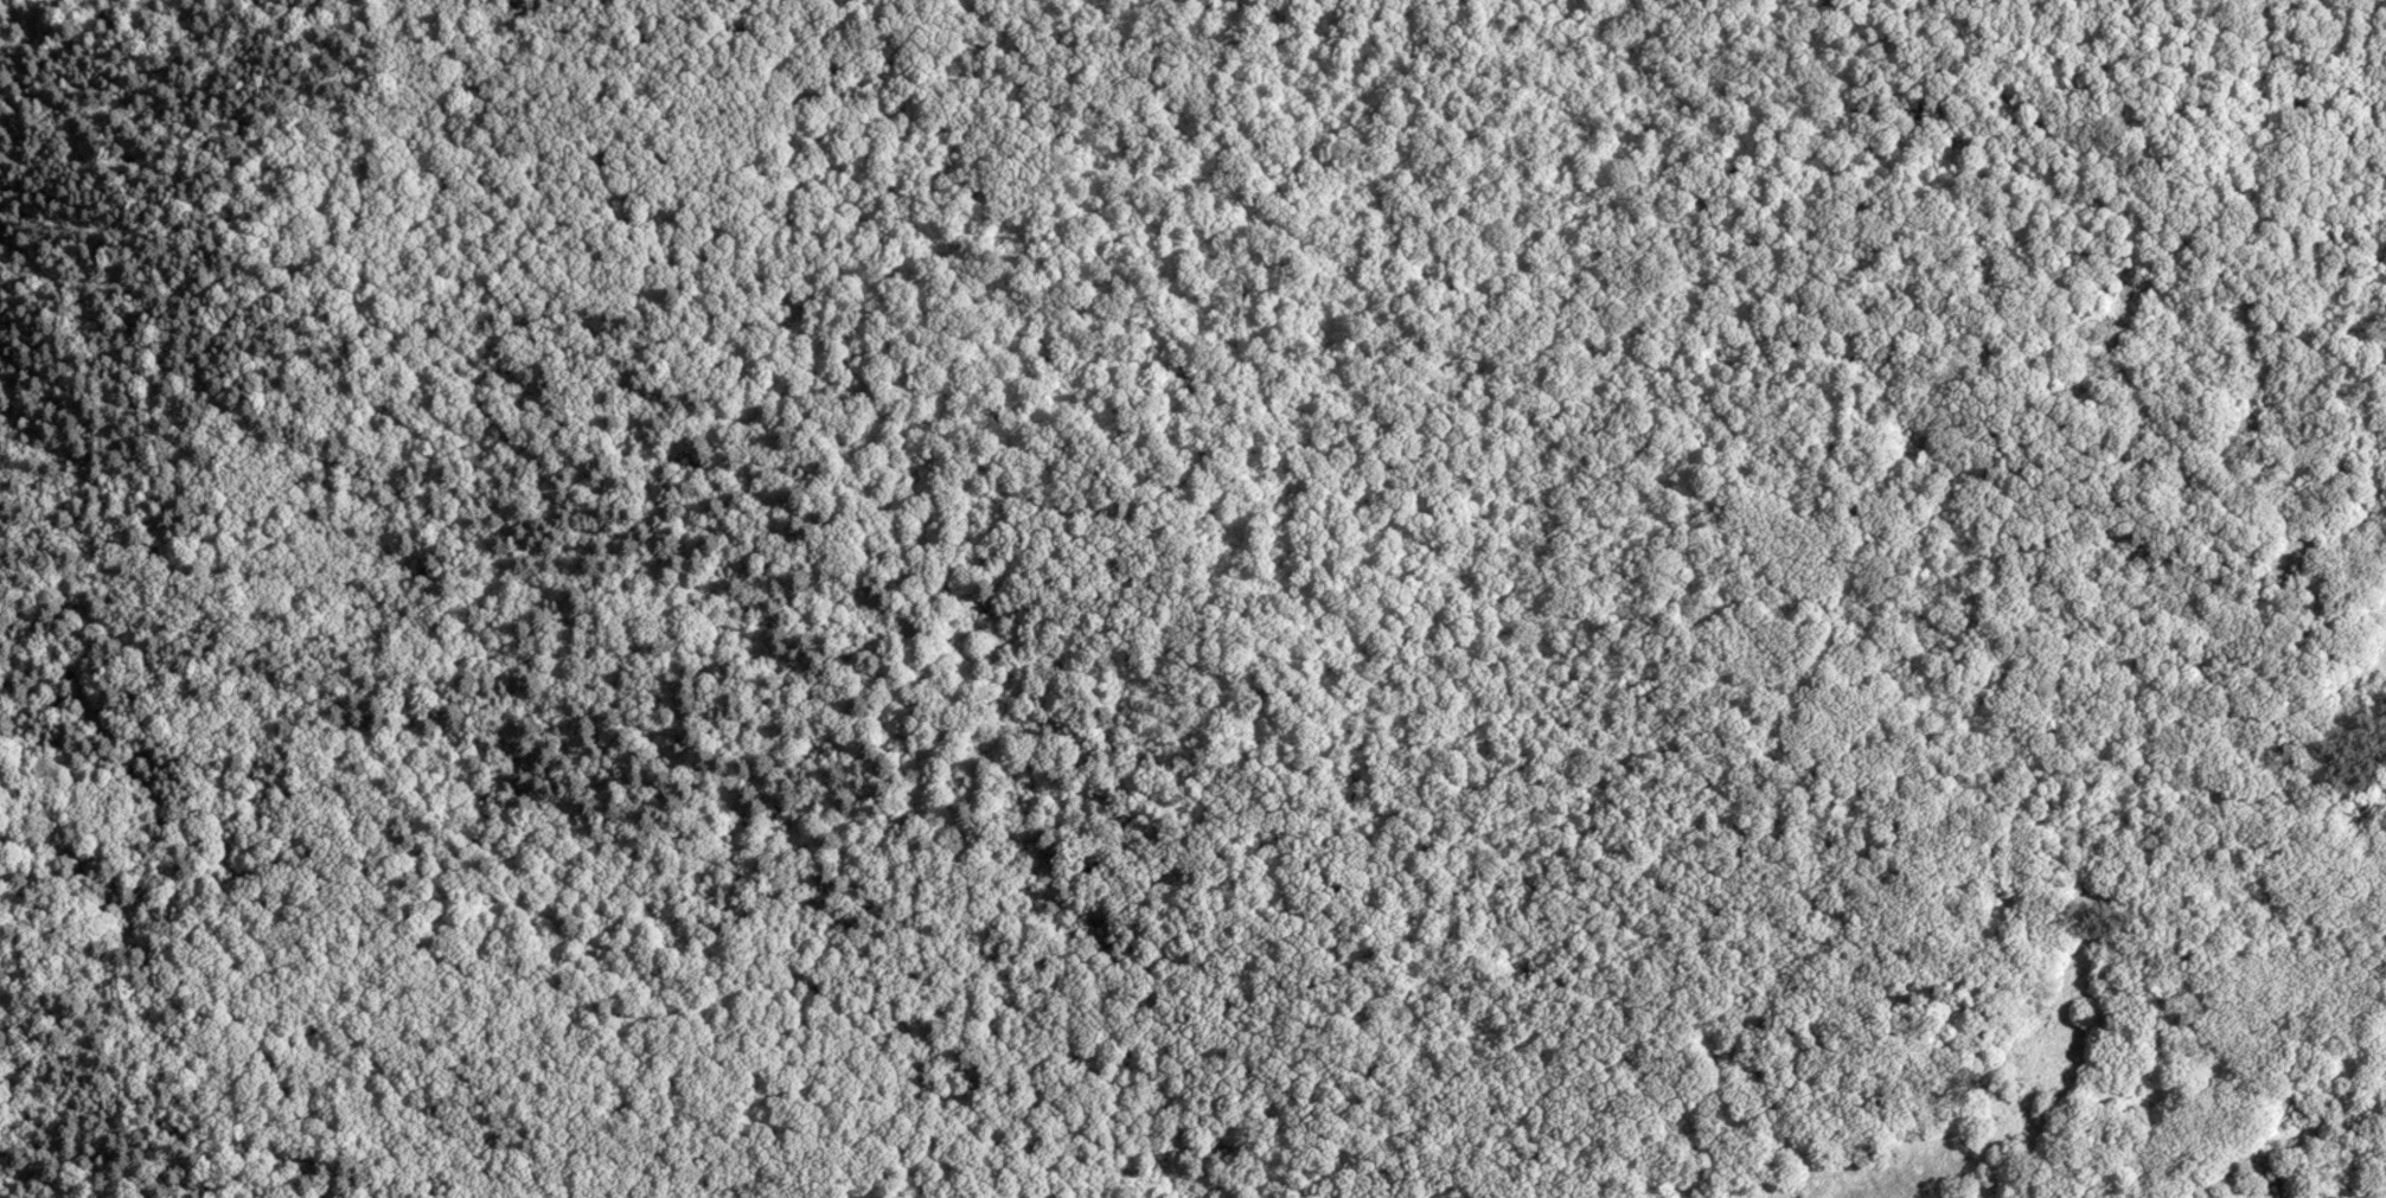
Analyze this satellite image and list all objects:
road: (160, 635)
road: (2326, 739)

